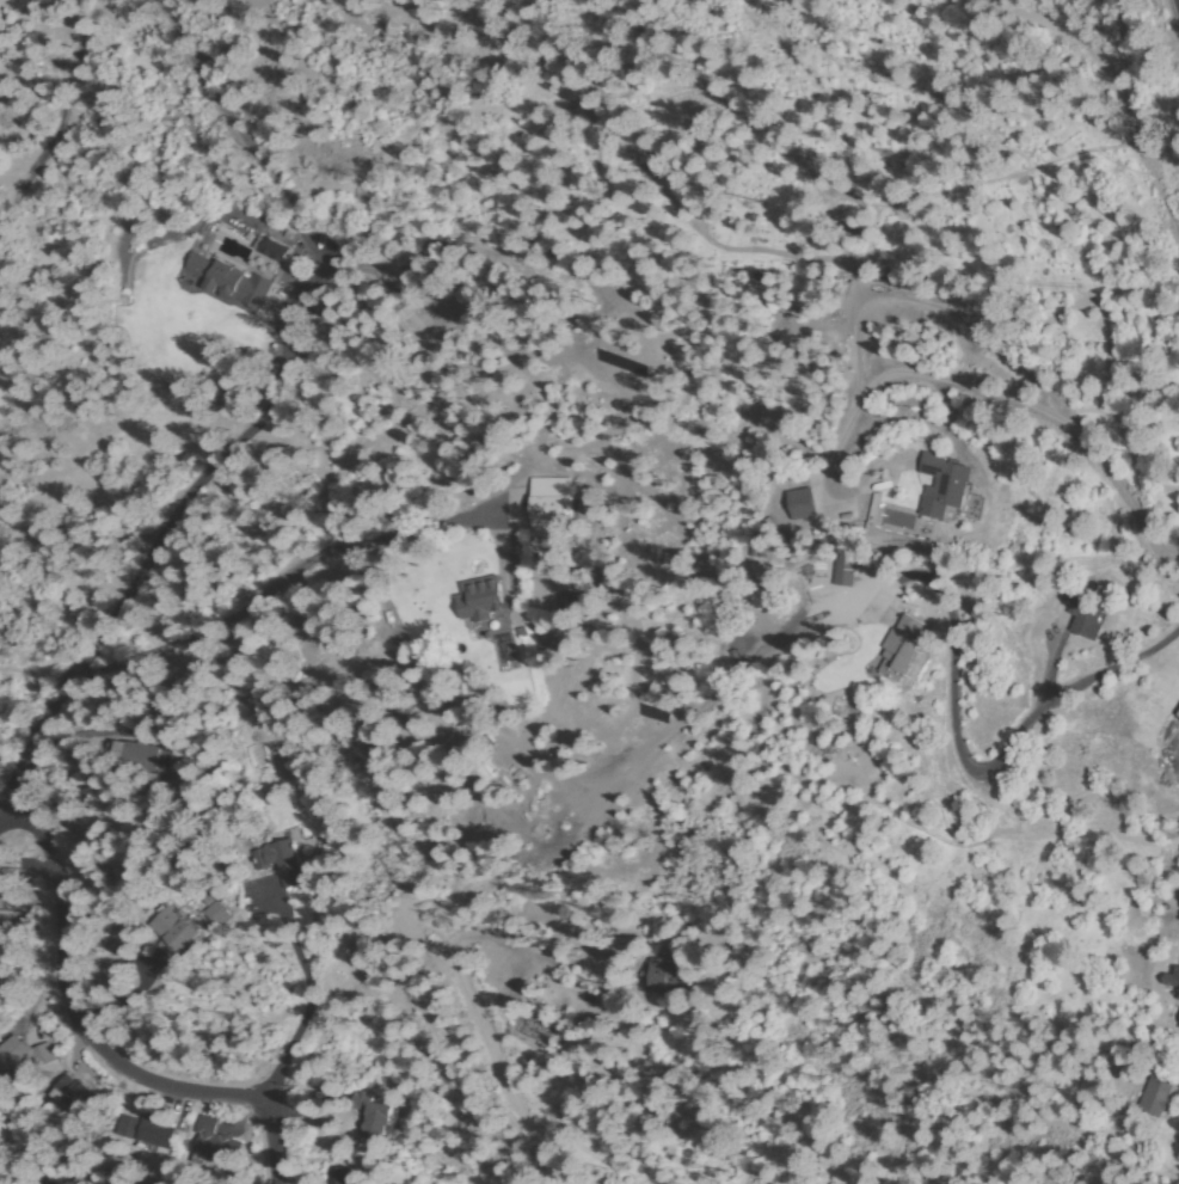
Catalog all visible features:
road: (1178, 1)
road: (1067, 37)
road: (397, 62)
building: (271, 250)
building: (232, 282)
building: (890, 400)
building: (879, 415)
road: (1015, 417)
building: (948, 491)
building: (800, 504)
building: (552, 507)
road: (165, 533)
building: (845, 573)
road: (260, 599)
building: (481, 600)
building: (571, 602)
road: (299, 613)
building: (1087, 621)
building: (902, 649)
building: (1177, 713)
road: (944, 714)
building: (136, 754)
road: (8, 796)
building: (282, 863)
building: (11, 894)
building: (217, 915)
building: (171, 932)
building: (4, 973)
building: (665, 975)
road: (68, 979)
building: (1174, 986)
building: (1178, 1024)
road: (1138, 1051)
building: (13, 1055)
building: (44, 1055)
building: (70, 1093)
building: (1155, 1097)
building: (375, 1115)
road: (270, 1121)
building: (129, 1127)
building: (155, 1135)
building: (216, 1146)
building: (337, 1177)
building: (1, 1183)

